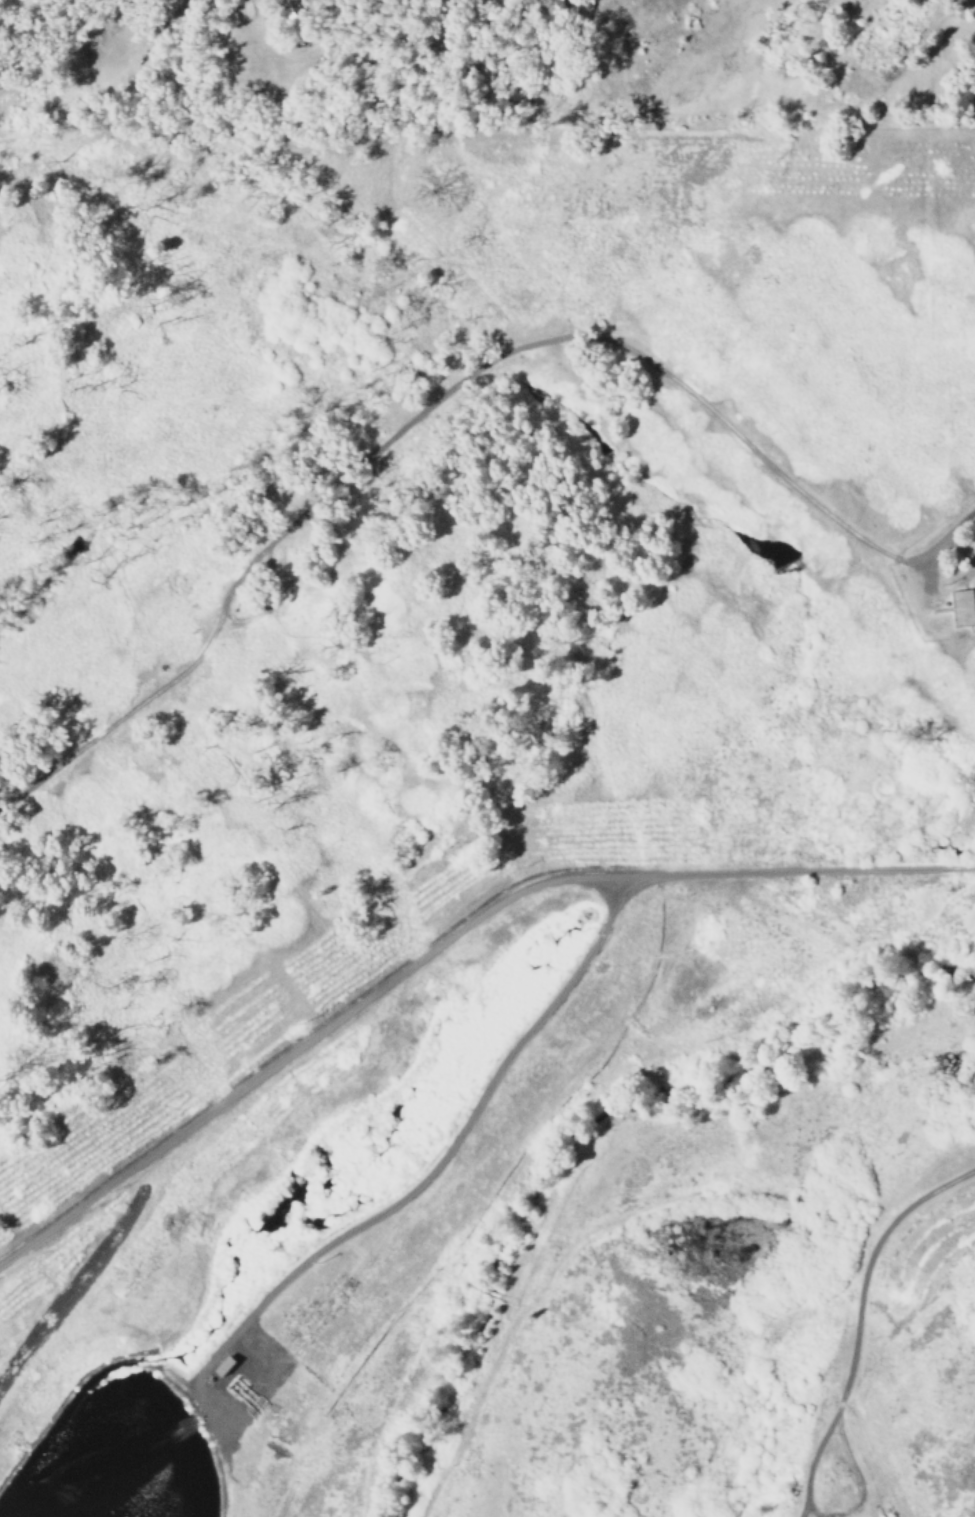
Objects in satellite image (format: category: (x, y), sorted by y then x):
road: (631, 352)
building: (961, 607)
road: (240, 622)
road: (126, 715)
road: (444, 944)
road: (443, 1153)
road: (867, 1270)
road: (811, 1472)
road: (855, 1473)
road: (805, 1510)

